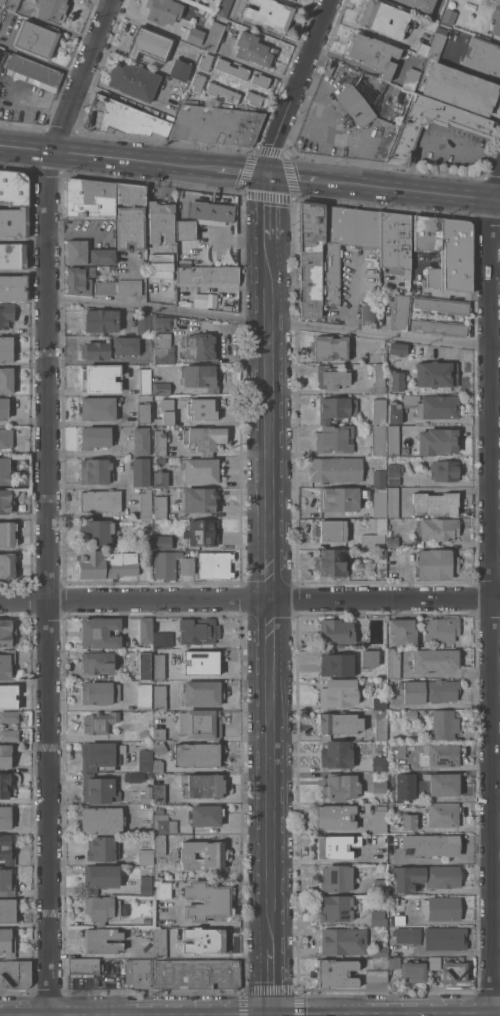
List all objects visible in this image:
building: (295, 0)
building: (2, 2)
building: (420, 4)
building: (11, 5)
building: (224, 7)
building: (52, 9)
building: (163, 11)
building: (450, 12)
building: (270, 13)
building: (384, 18)
building: (496, 20)
building: (430, 24)
road: (365, 28)
building: (195, 36)
building: (214, 36)
building: (36, 39)
building: (149, 44)
building: (436, 45)
building: (423, 48)
building: (255, 49)
building: (374, 54)
building: (482, 56)
road: (39, 57)
building: (205, 62)
road: (461, 67)
building: (232, 68)
building: (180, 69)
building: (31, 70)
building: (411, 78)
building: (133, 80)
building: (261, 80)
building: (198, 81)
road: (294, 86)
building: (222, 92)
building: (253, 98)
road: (27, 103)
building: (356, 105)
road: (318, 107)
building: (122, 118)
building: (217, 125)
building: (409, 132)
road: (437, 140)
road: (356, 142)
road: (321, 155)
road: (107, 157)
road: (242, 171)
traffic signals: (269, 175)
road: (295, 177)
building: (14, 187)
road: (410, 190)
building: (130, 193)
building: (89, 197)
road: (269, 209)
building: (211, 211)
building: (14, 221)
building: (161, 221)
building: (130, 227)
building: (186, 229)
building: (395, 243)
building: (174, 248)
building: (446, 249)
building: (329, 250)
building: (77, 252)
building: (13, 255)
building: (102, 256)
building: (161, 265)
road: (496, 273)
building: (207, 275)
building: (79, 279)
building: (13, 287)
building: (106, 287)
building: (129, 287)
building: (441, 305)
building: (400, 311)
building: (369, 312)
building: (6, 314)
building: (69, 319)
building: (102, 320)
road: (274, 322)
building: (144, 323)
building: (164, 323)
building: (440, 327)
building: (126, 345)
building: (201, 346)
building: (161, 347)
building: (329, 347)
building: (6, 348)
building: (397, 348)
building: (96, 350)
building: (380, 354)
building: (353, 365)
building: (436, 373)
building: (201, 377)
building: (332, 377)
building: (101, 378)
building: (379, 378)
building: (6, 380)
building: (397, 380)
building: (145, 381)
building: (161, 388)
building: (144, 398)
building: (433, 405)
building: (4, 407)
building: (99, 408)
building: (202, 408)
building: (336, 408)
building: (378, 411)
building: (166, 412)
building: (395, 412)
building: (143, 413)
road: (217, 421)
building: (95, 436)
building: (6, 438)
building: (206, 438)
building: (335, 438)
building: (378, 440)
building: (438, 440)
building: (141, 441)
building: (395, 442)
building: (159, 443)
building: (158, 459)
building: (336, 469)
building: (202, 470)
building: (444, 470)
building: (96, 471)
building: (5, 472)
building: (141, 472)
building: (394, 473)
building: (379, 478)
building: (161, 479)
road: (497, 484)
building: (341, 498)
building: (101, 500)
building: (6, 501)
road: (49, 502)
building: (200, 502)
building: (379, 502)
building: (393, 502)
building: (435, 503)
building: (145, 504)
building: (160, 506)
building: (439, 528)
building: (334, 530)
building: (97, 531)
building: (203, 532)
building: (7, 533)
building: (375, 536)
building: (163, 542)
building: (392, 542)
building: (145, 543)
building: (382, 558)
building: (332, 562)
building: (107, 564)
building: (166, 564)
building: (214, 564)
building: (436, 564)
building: (7, 565)
building: (186, 565)
road: (271, 593)
road: (494, 594)
road: (250, 600)
building: (441, 629)
building: (146, 630)
building: (336, 631)
building: (198, 632)
building: (403, 632)
building: (7, 633)
building: (100, 633)
building: (163, 639)
building: (370, 658)
building: (434, 659)
building: (97, 662)
building: (202, 662)
building: (393, 662)
building: (7, 663)
building: (337, 663)
building: (158, 664)
building: (144, 665)
building: (430, 690)
building: (100, 692)
building: (202, 693)
building: (338, 693)
building: (9, 696)
building: (144, 696)
building: (160, 697)
building: (379, 703)
road: (439, 706)
building: (395, 714)
building: (411, 714)
building: (9, 717)
building: (99, 722)
building: (200, 724)
building: (338, 724)
building: (444, 724)
building: (381, 725)
building: (159, 733)
building: (130, 734)
building: (9, 735)
building: (160, 748)
building: (399, 749)
building: (337, 754)
building: (438, 754)
building: (7, 755)
building: (101, 755)
building: (196, 755)
building: (145, 760)
building: (379, 763)
building: (158, 765)
building: (149, 775)
building: (134, 777)
building: (443, 783)
building: (202, 785)
building: (6, 786)
building: (341, 786)
building: (379, 786)
building: (405, 786)
building: (99, 789)
building: (159, 793)
building: (146, 795)
building: (392, 807)
building: (159, 810)
building: (443, 814)
building: (205, 815)
building: (335, 816)
building: (5, 817)
building: (380, 818)
building: (102, 820)
building: (409, 821)
building: (164, 824)
road: (497, 832)
building: (159, 845)
building: (336, 845)
building: (429, 845)
building: (102, 849)
building: (380, 849)
building: (7, 850)
building: (203, 854)
building: (146, 856)
building: (101, 877)
building: (337, 877)
building: (425, 877)
building: (6, 882)
building: (146, 885)
building: (379, 886)
building: (163, 889)
building: (206, 900)
building: (336, 907)
building: (441, 908)
building: (101, 909)
building: (7, 910)
building: (396, 910)
building: (378, 918)
building: (407, 935)
building: (445, 937)
building: (102, 940)
building: (204, 940)
building: (344, 941)
building: (7, 942)
building: (160, 942)
building: (379, 952)
building: (435, 963)
building: (83, 966)
building: (409, 970)
building: (454, 971)
building: (139, 972)
building: (336, 973)
building: (15, 974)
building: (197, 974)
building: (377, 975)
road: (273, 980)

